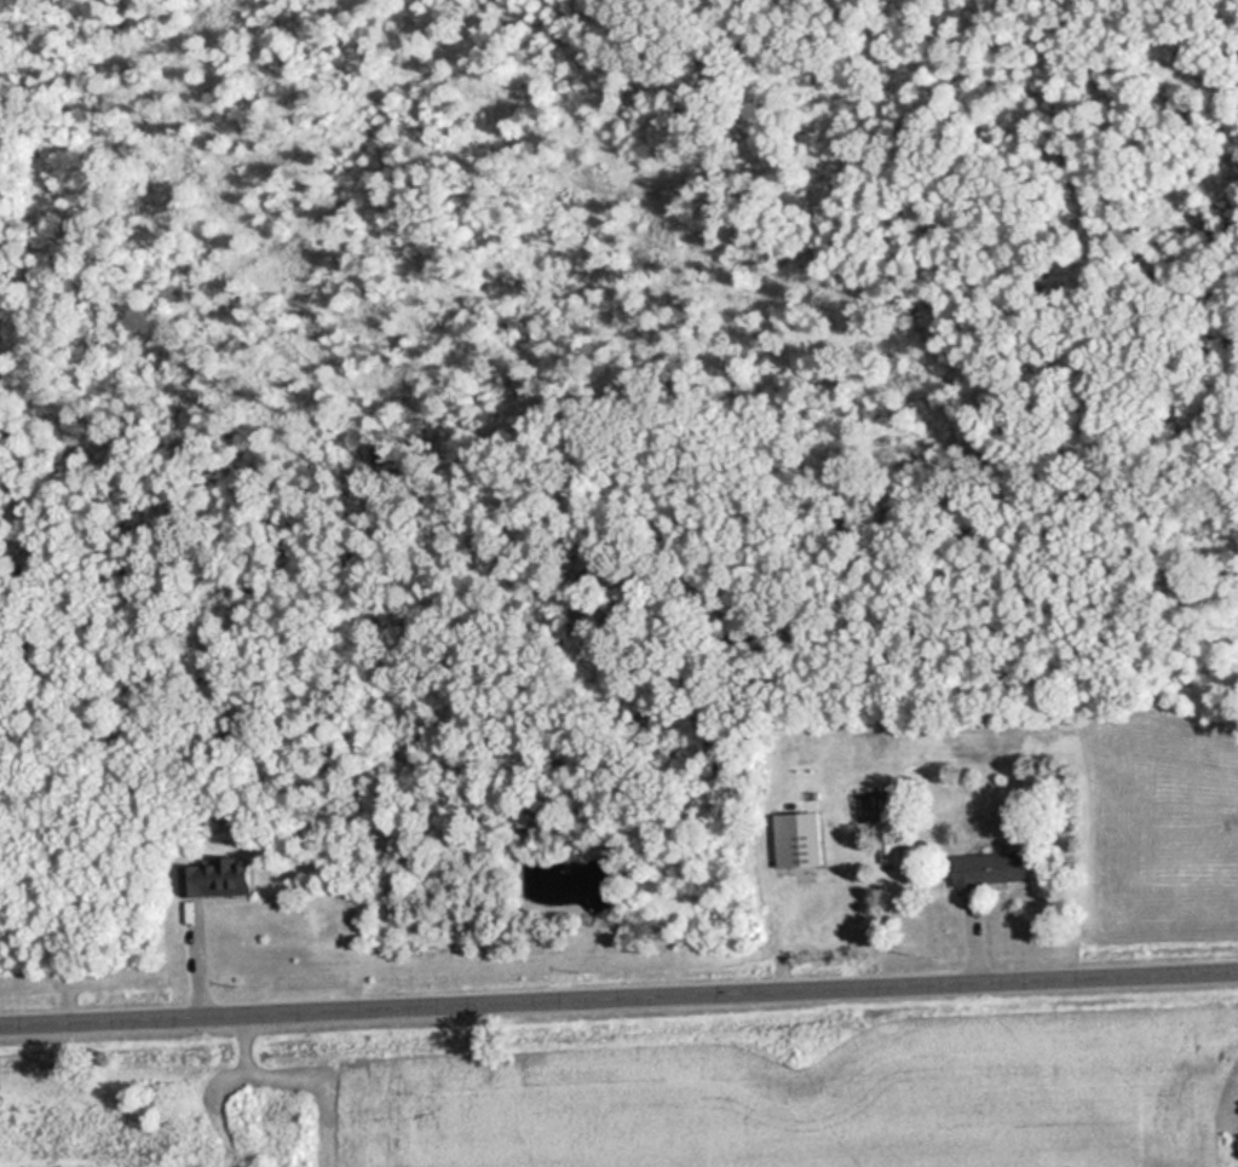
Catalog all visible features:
building: (804, 840)
building: (995, 869)
building: (224, 880)
road: (618, 998)

